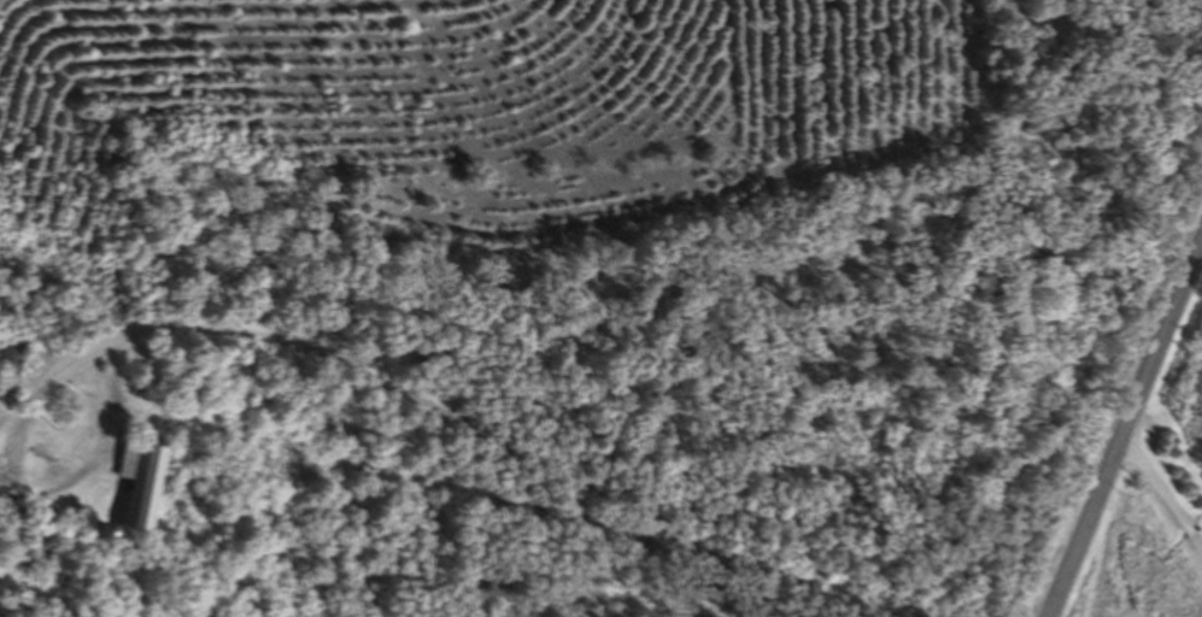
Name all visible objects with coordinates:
building: (16, 359)
road: (406, 404)
road: (1128, 435)
building: (149, 483)
road: (1166, 484)

